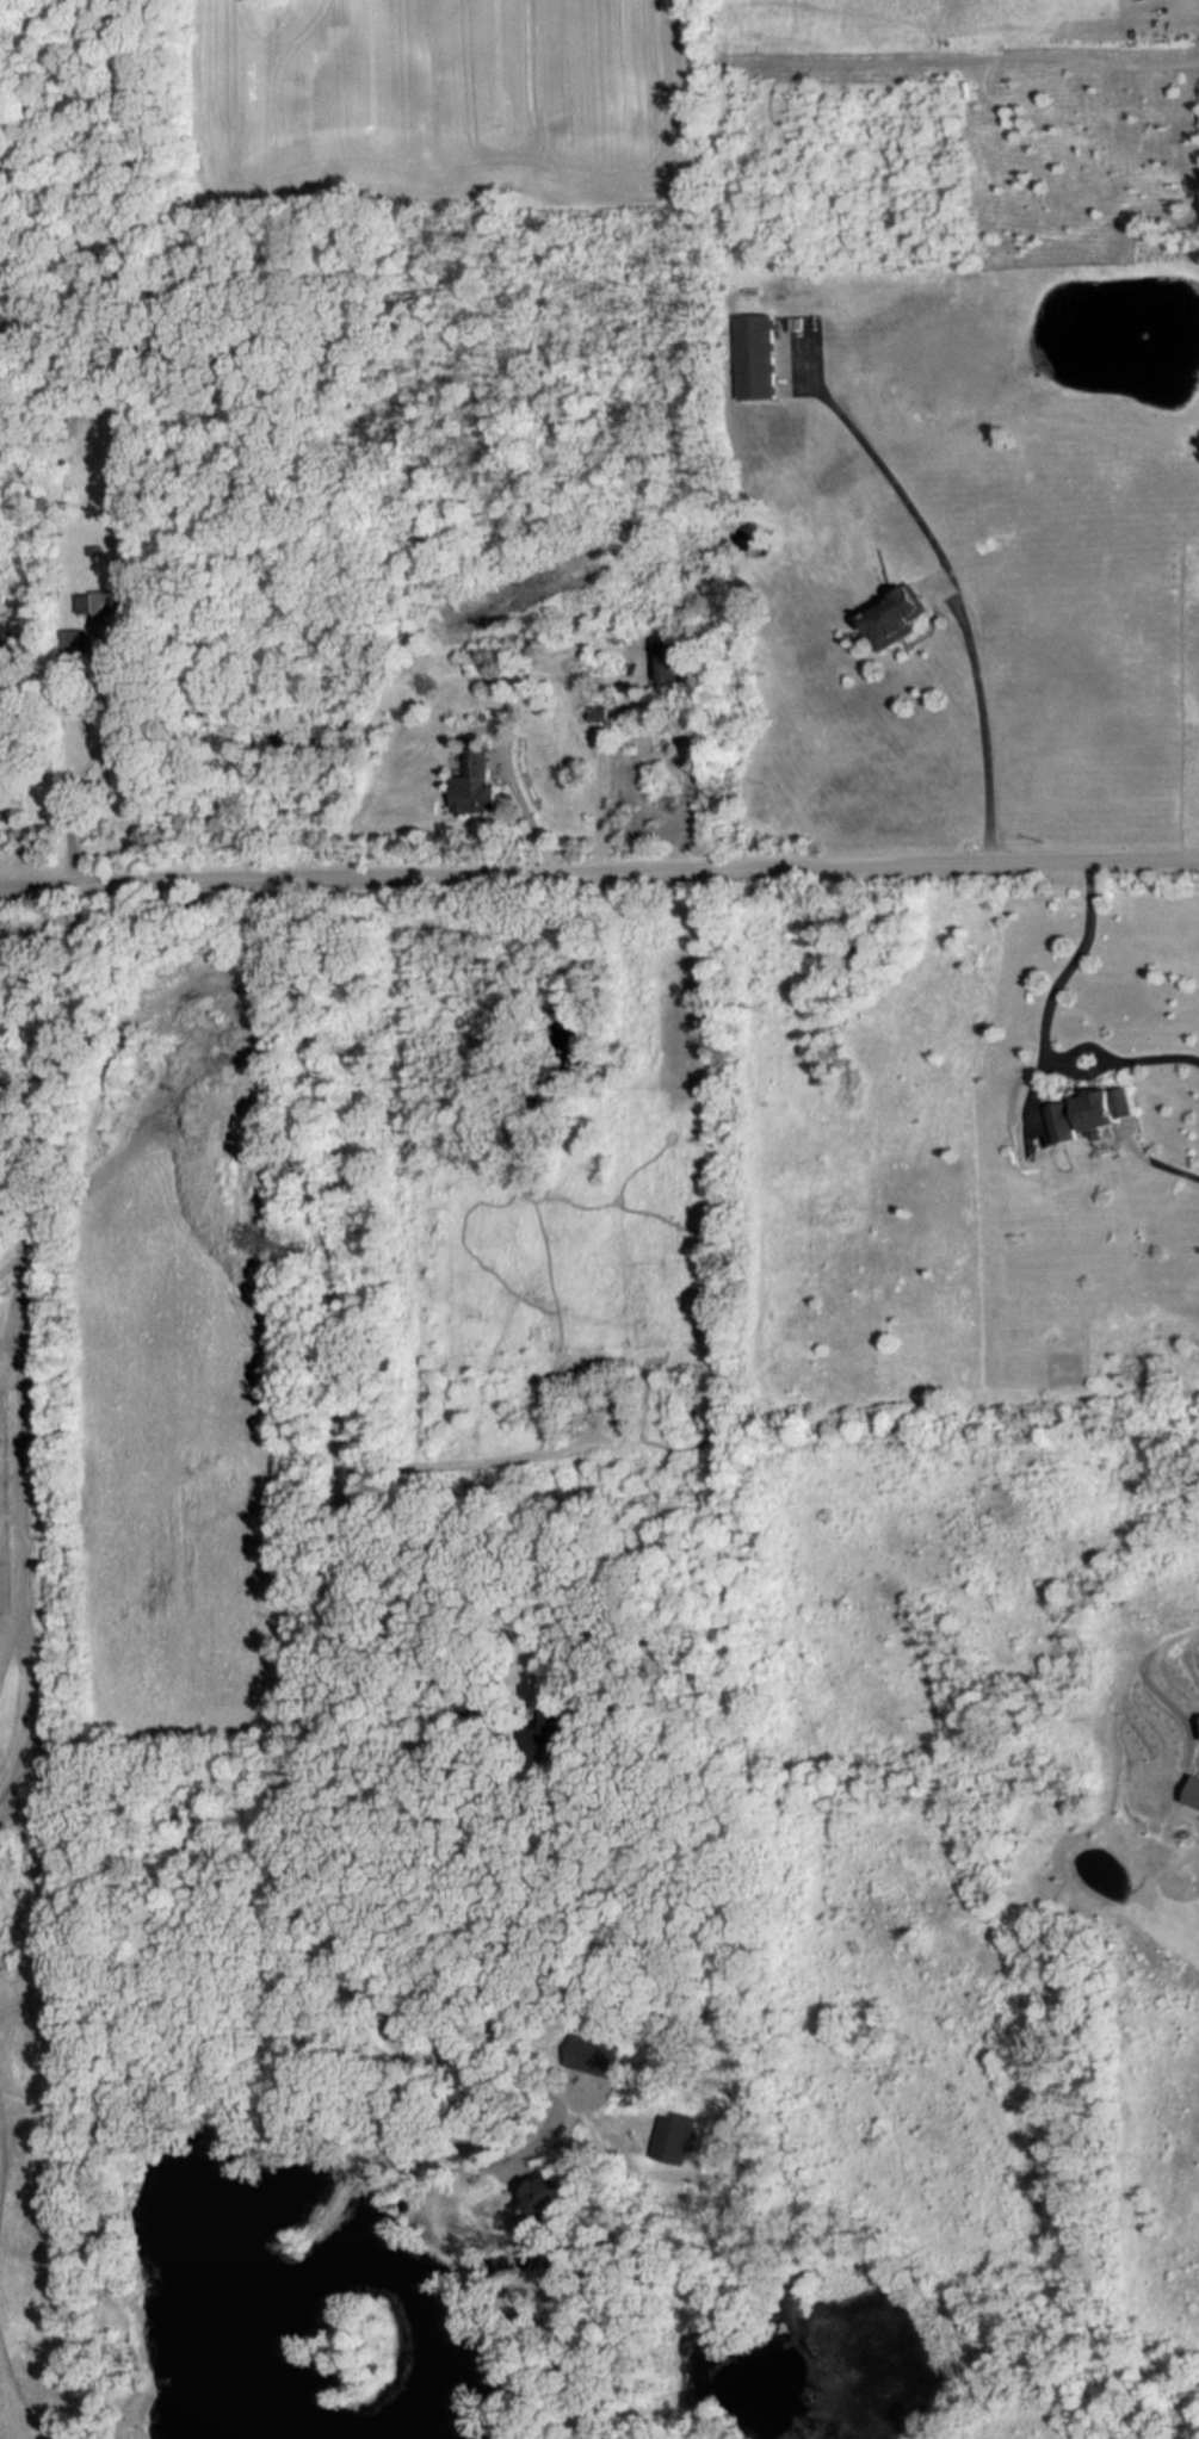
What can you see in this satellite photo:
building: (756, 355)
road: (959, 603)
building: (106, 605)
building: (895, 617)
building: (670, 661)
road: (97, 756)
road: (600, 767)
building: (471, 782)
road: (527, 809)
road: (746, 865)
road: (185, 875)
road: (38, 878)
road: (1045, 1029)
building: (1093, 1112)
road: (472, 1465)
road: (336, 1658)
road: (382, 1688)
building: (548, 1734)
building: (1192, 1790)
building: (595, 2059)
building: (676, 2137)
building: (551, 2208)

